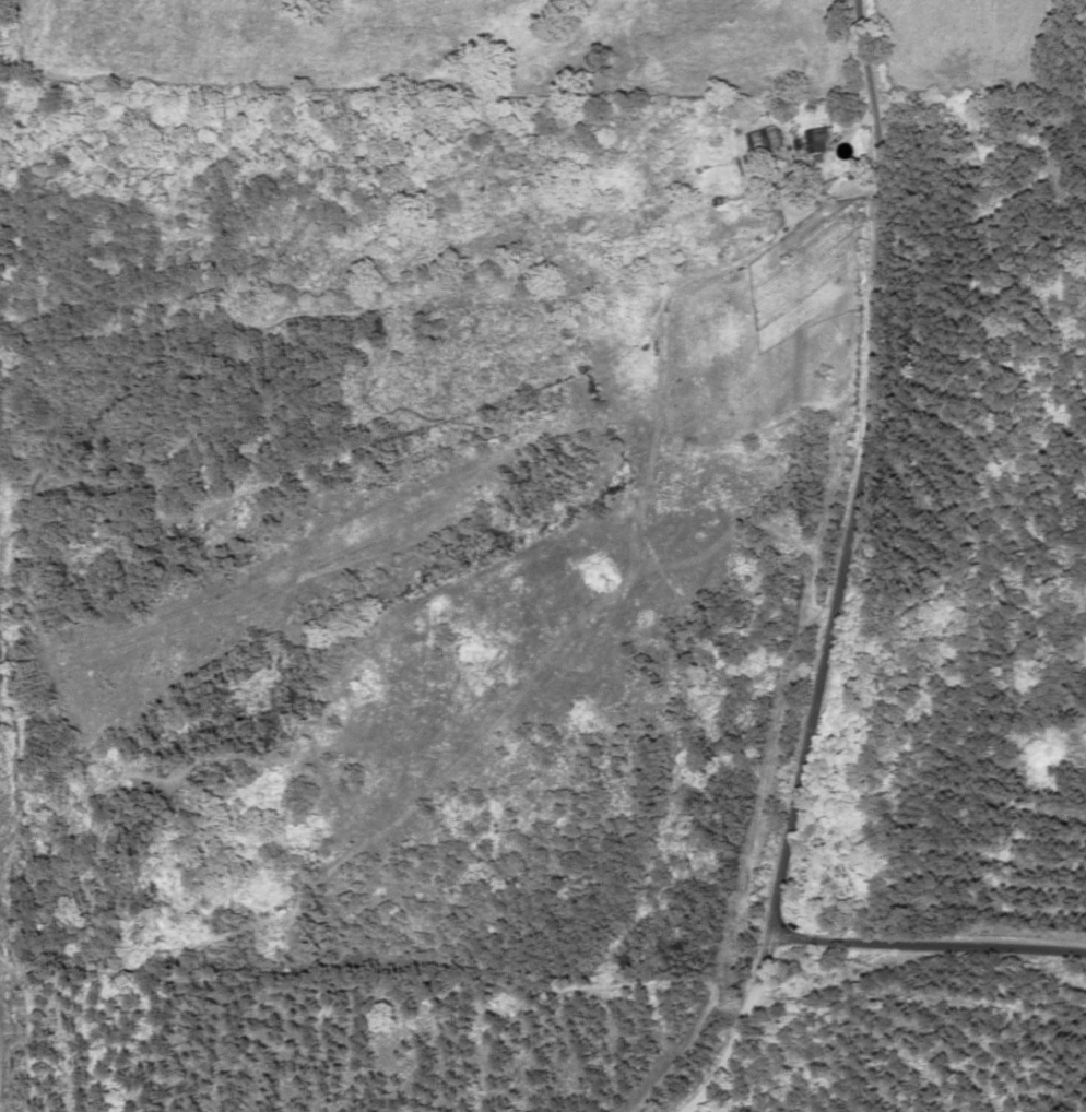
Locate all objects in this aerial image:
building: (768, 139)
building: (816, 141)
road: (841, 569)
road: (928, 946)

